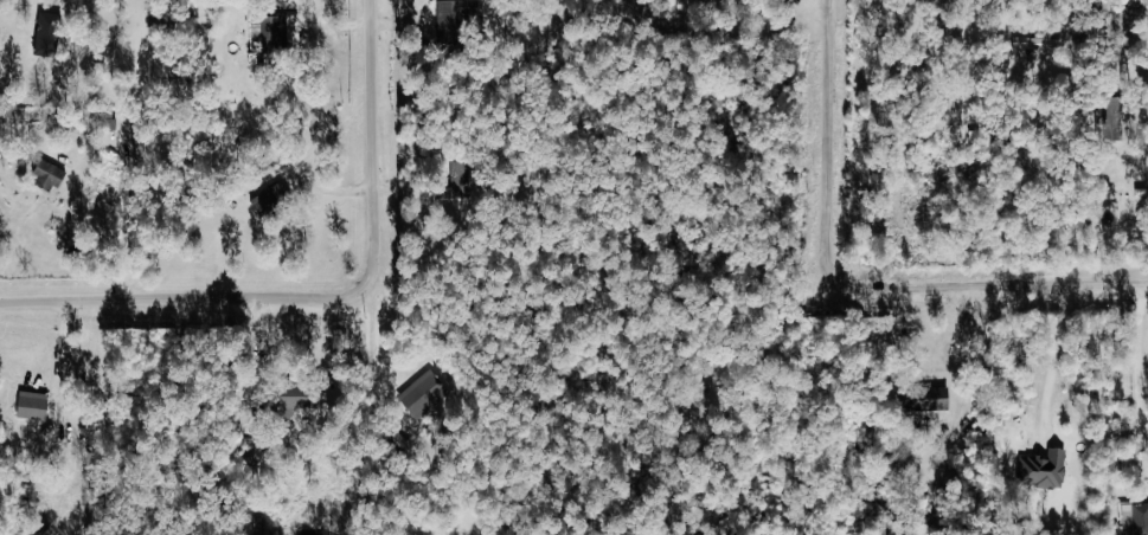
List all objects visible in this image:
building: (451, 17)
building: (297, 28)
building: (52, 34)
building: (259, 36)
building: (1044, 43)
building: (53, 176)
road: (849, 289)
road: (331, 302)
road: (1060, 352)
road: (1141, 357)
building: (427, 386)
building: (929, 400)
building: (38, 407)
building: (1047, 470)
building: (1136, 518)

